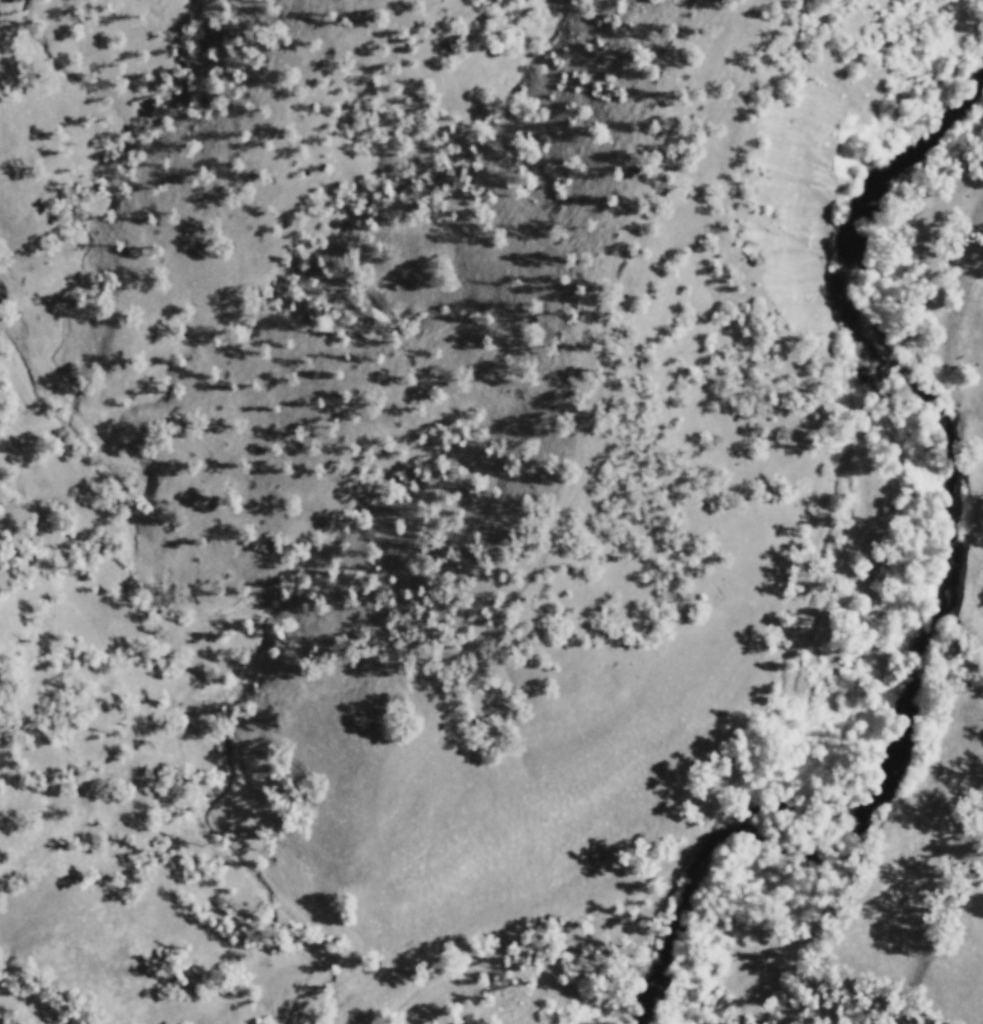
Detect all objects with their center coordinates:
river: (891, 353)
river: (766, 819)

